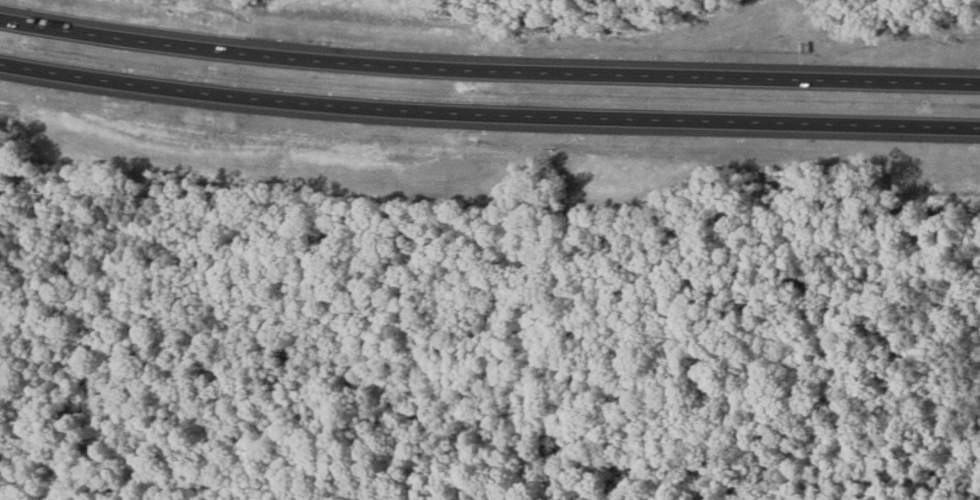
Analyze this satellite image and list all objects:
road: (488, 64)
road: (488, 108)

